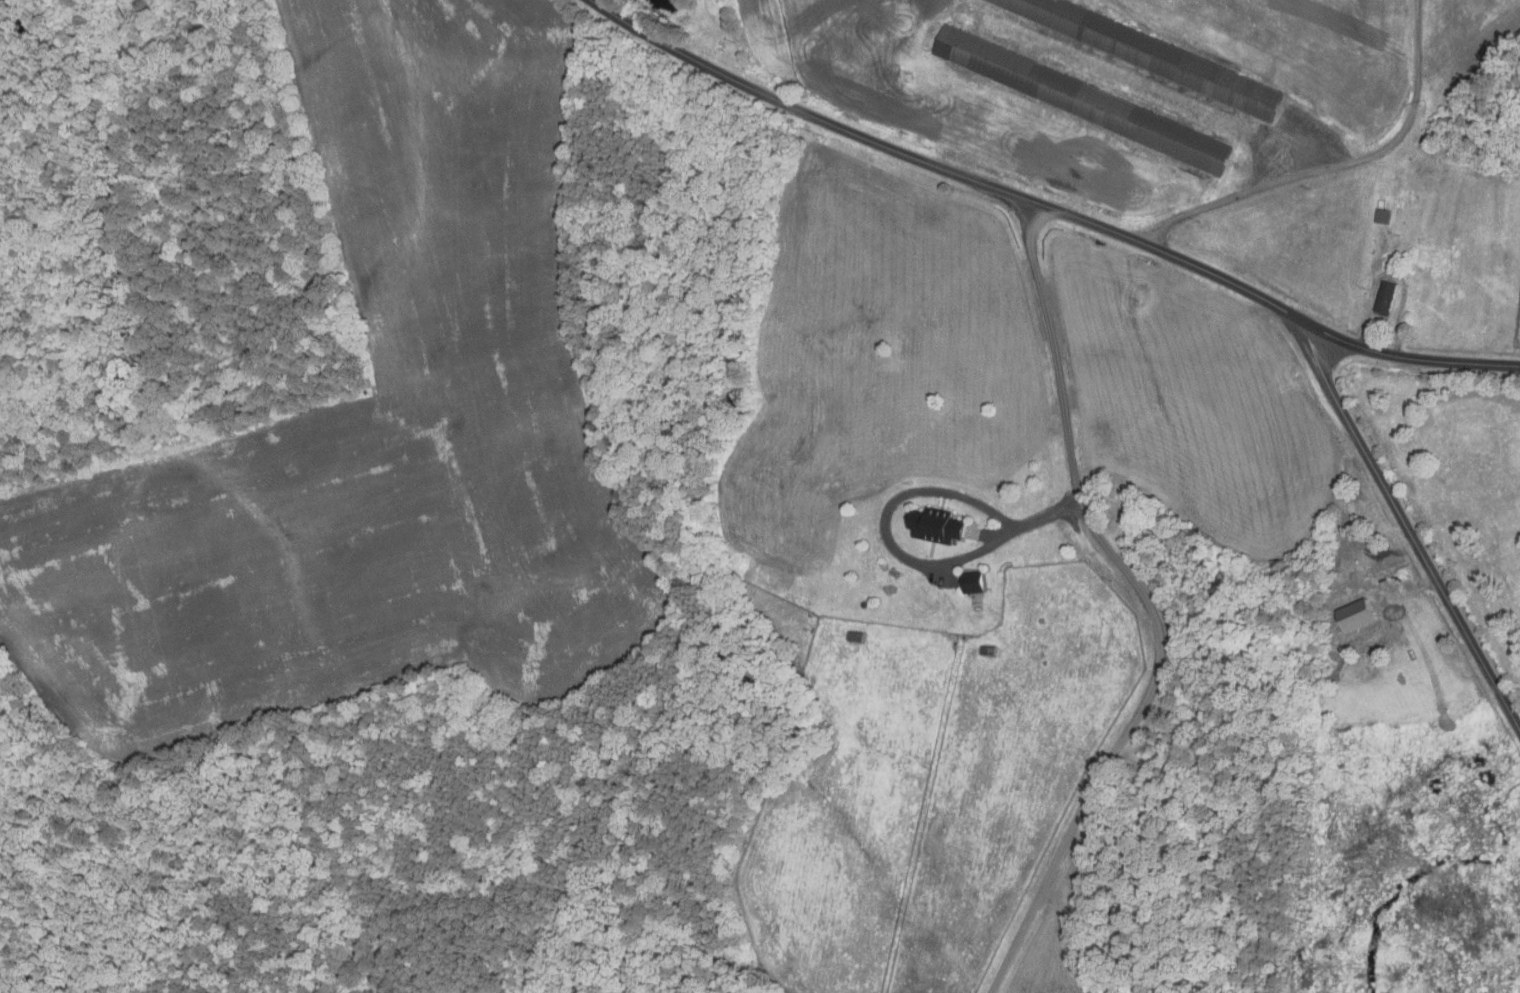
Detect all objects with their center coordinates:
building: (1149, 54)
building: (1082, 99)
road: (1338, 165)
road: (1049, 209)
building: (1382, 216)
building: (1399, 268)
building: (1385, 298)
crop: (368, 438)
road: (897, 500)
building: (934, 525)
road: (1407, 529)
building: (973, 583)
road: (1148, 605)
building: (1355, 616)
building: (854, 637)
building: (988, 651)

